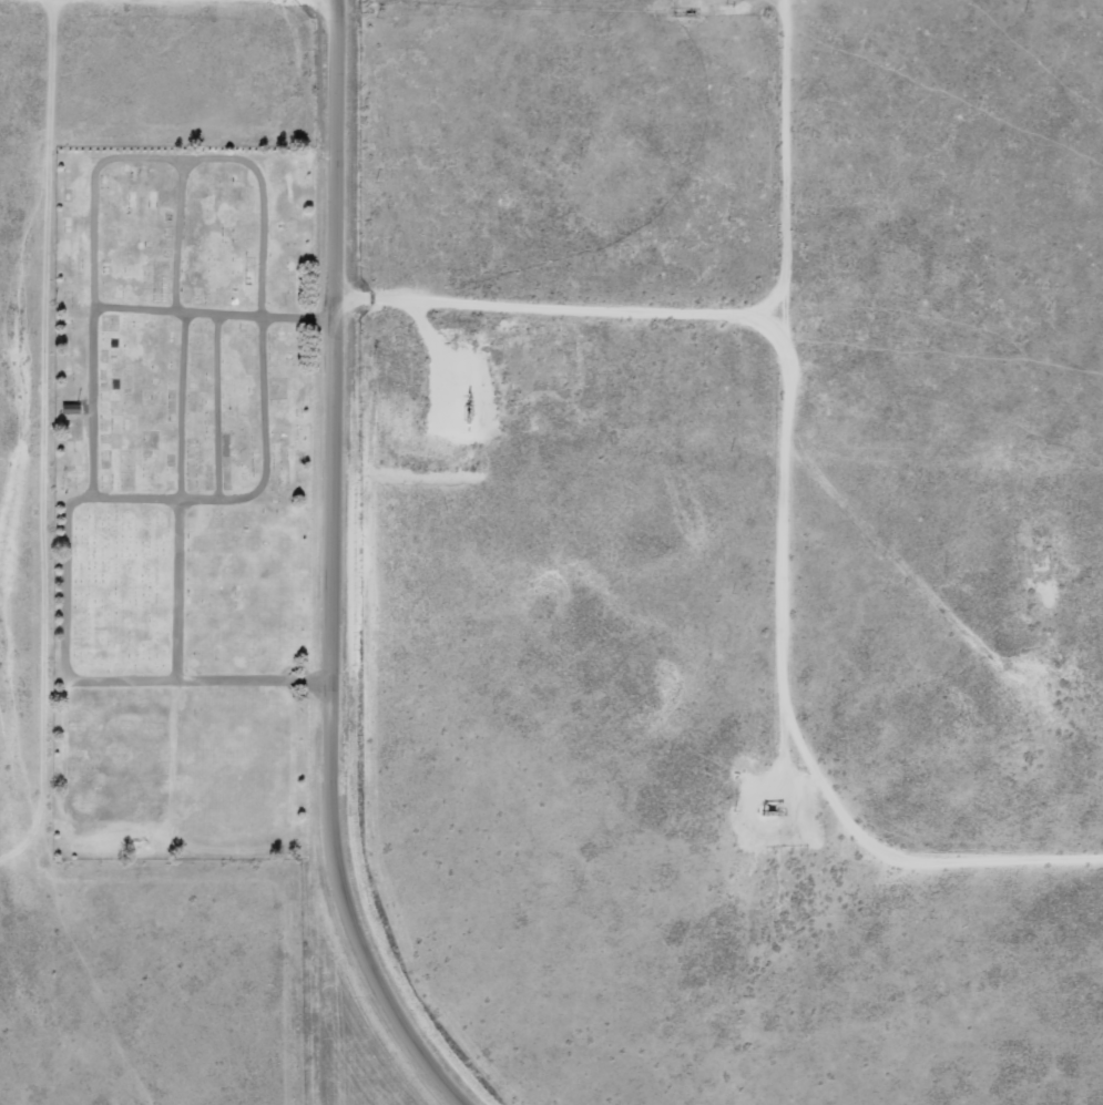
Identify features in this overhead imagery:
road: (95, 236)
road: (562, 303)
road: (302, 319)
park: (183, 498)
road: (331, 573)
road: (178, 586)
road: (767, 586)

